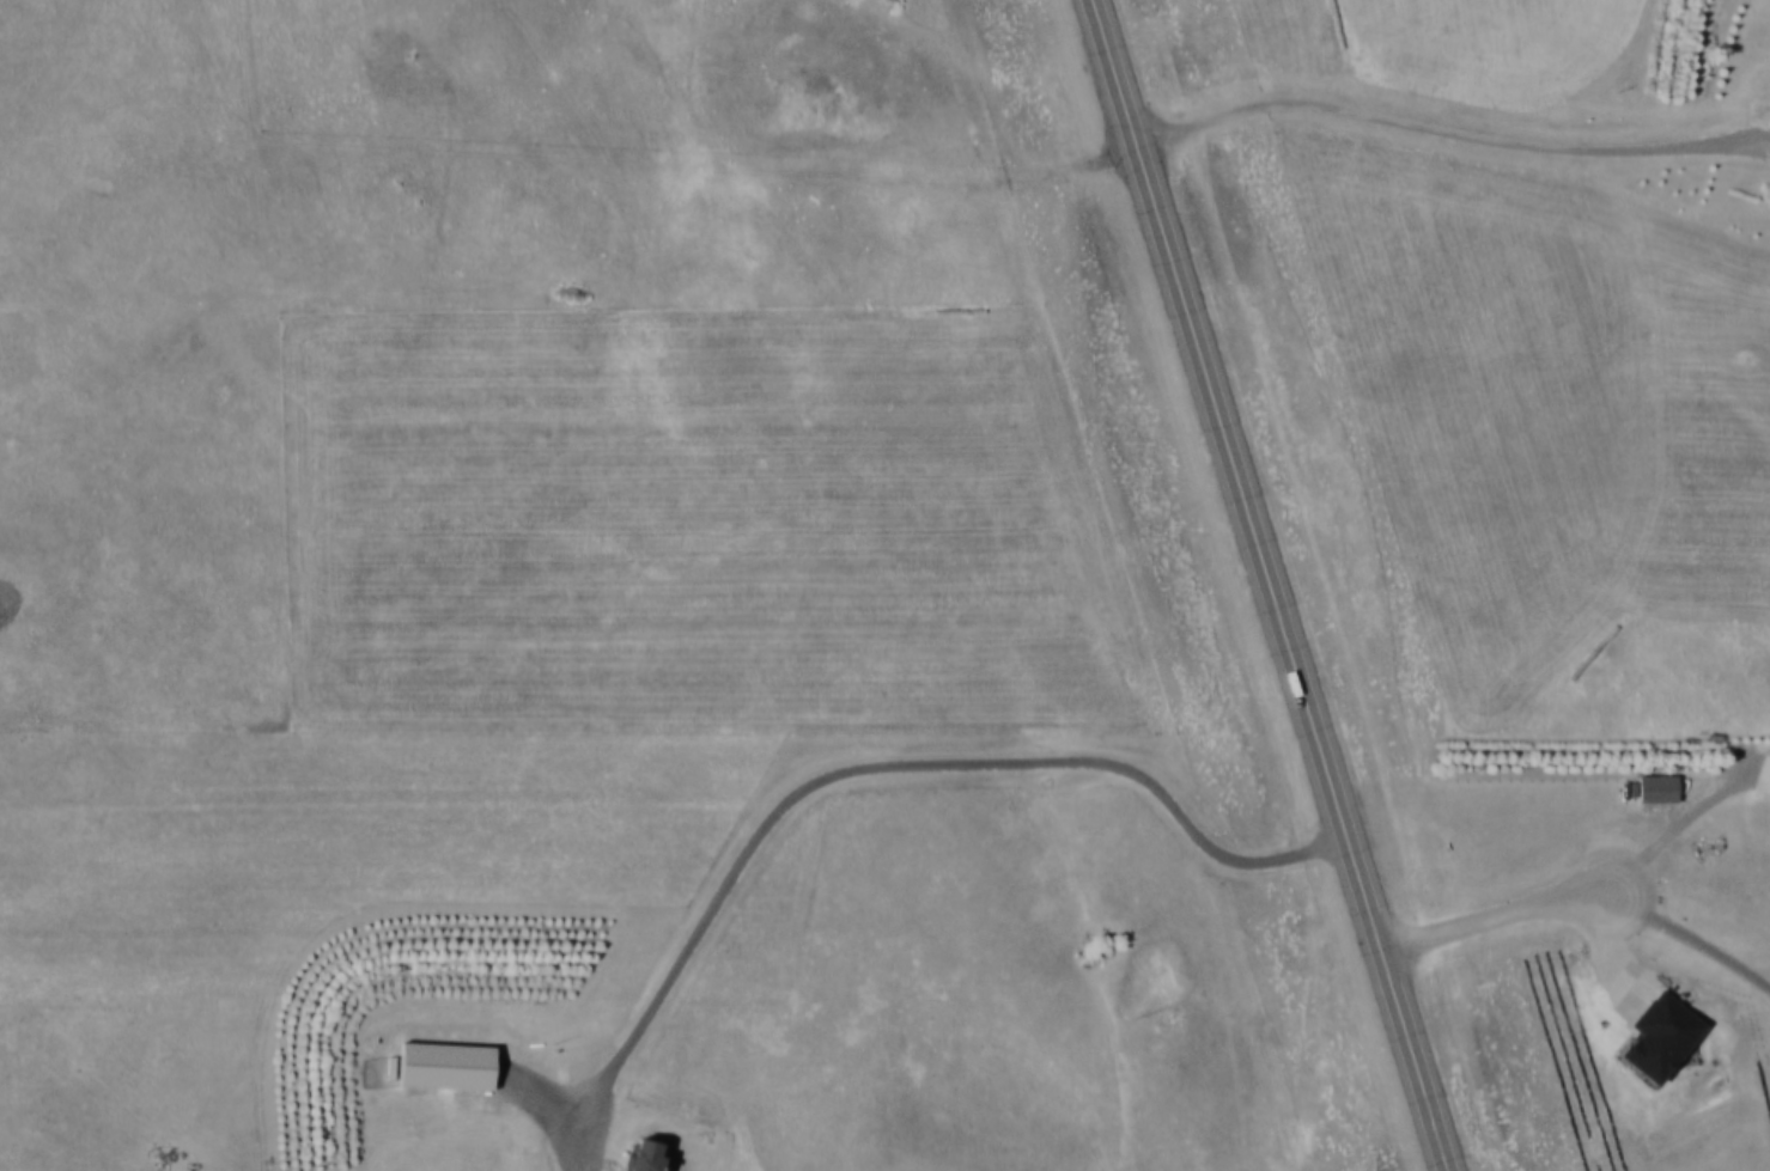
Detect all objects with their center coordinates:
road: (1448, 134)
road: (1271, 585)
road: (1580, 905)
building: (448, 1065)
building: (649, 1155)

